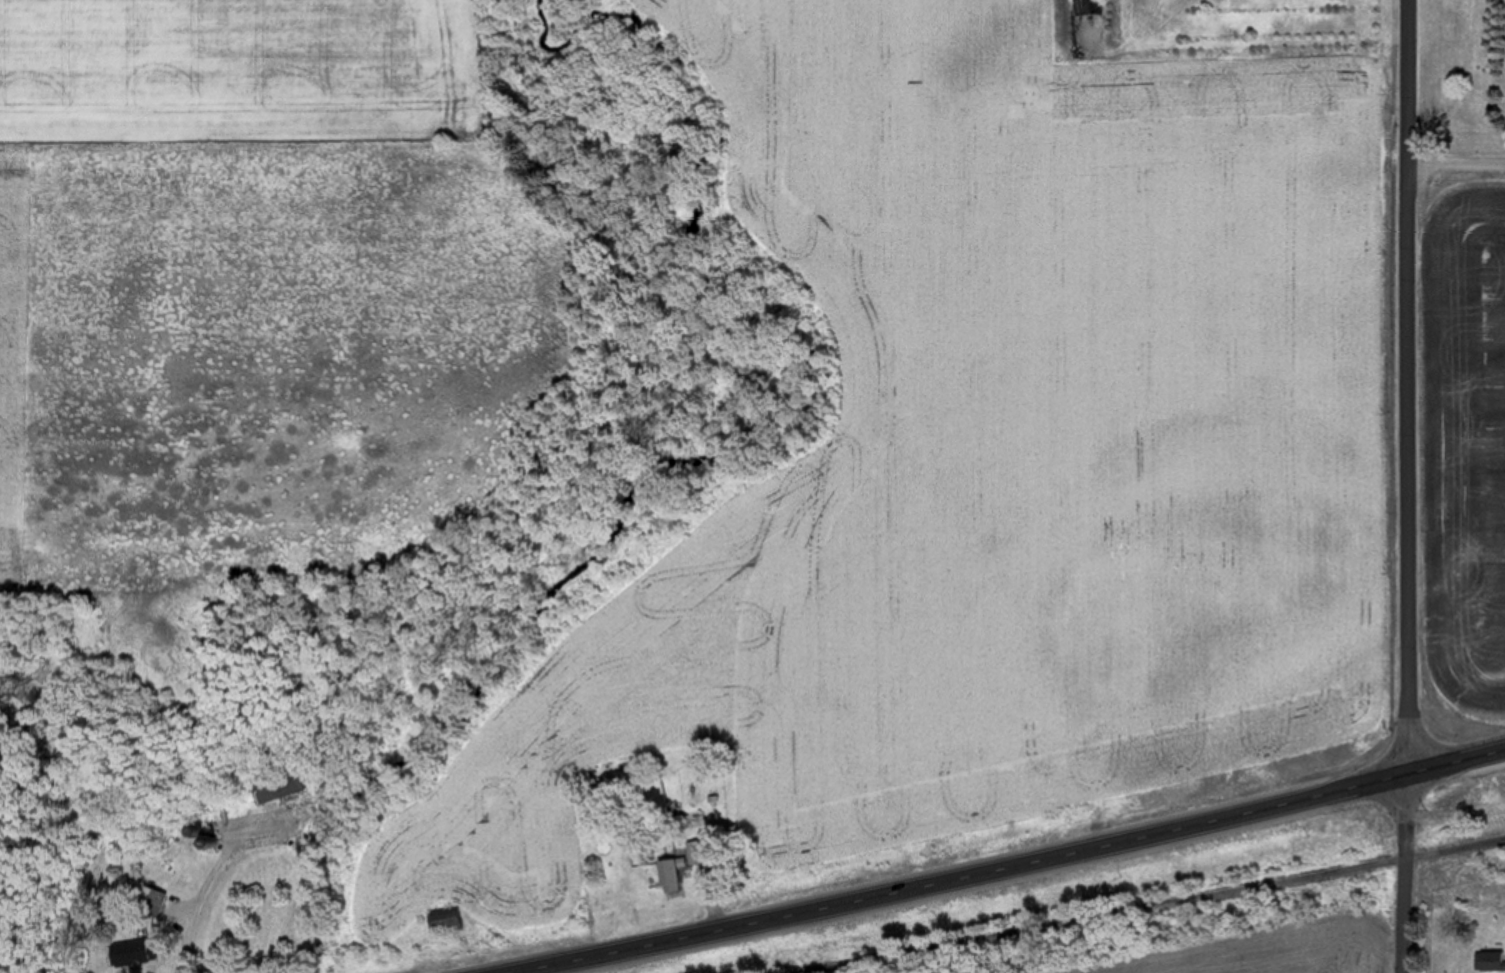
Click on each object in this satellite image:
road: (1456, 159)
road: (1407, 386)
building: (285, 784)
building: (713, 853)
road: (1016, 869)
road: (1402, 872)
building: (686, 877)
building: (156, 901)
road: (1163, 907)
building: (457, 922)
building: (131, 954)
building: (1484, 966)

